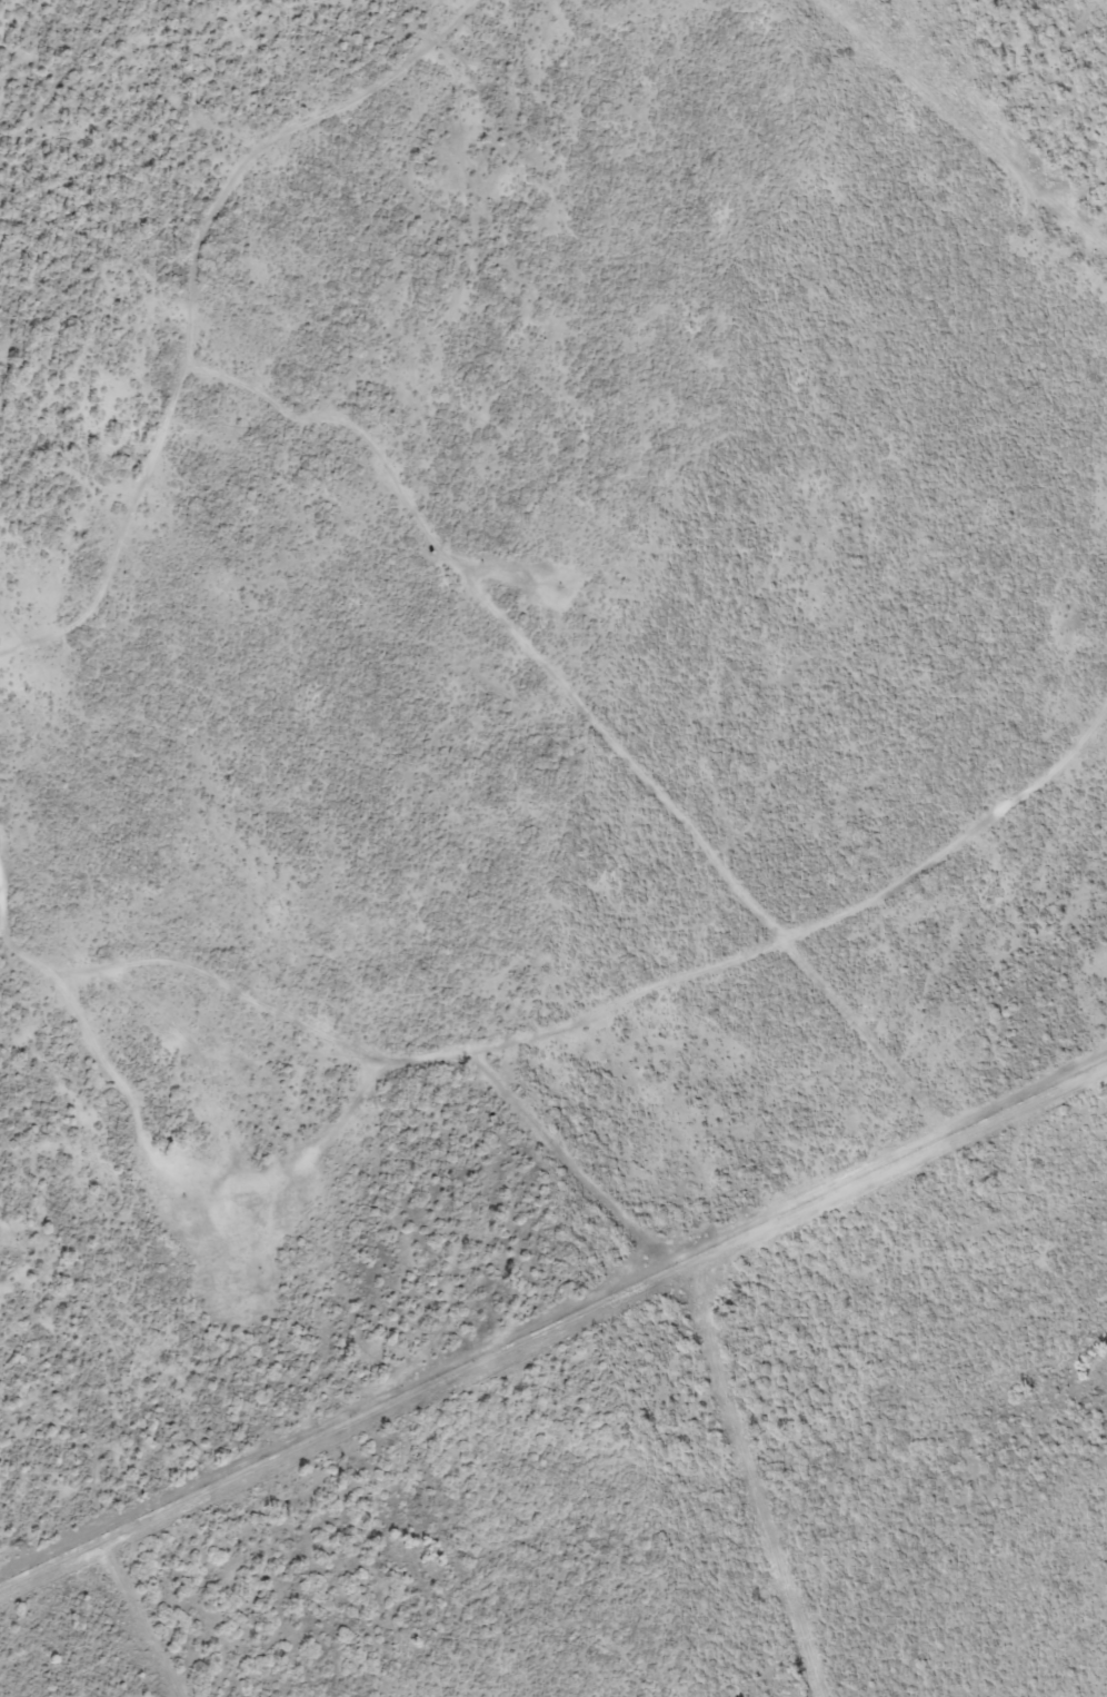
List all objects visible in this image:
road: (200, 304)
road: (531, 1035)

